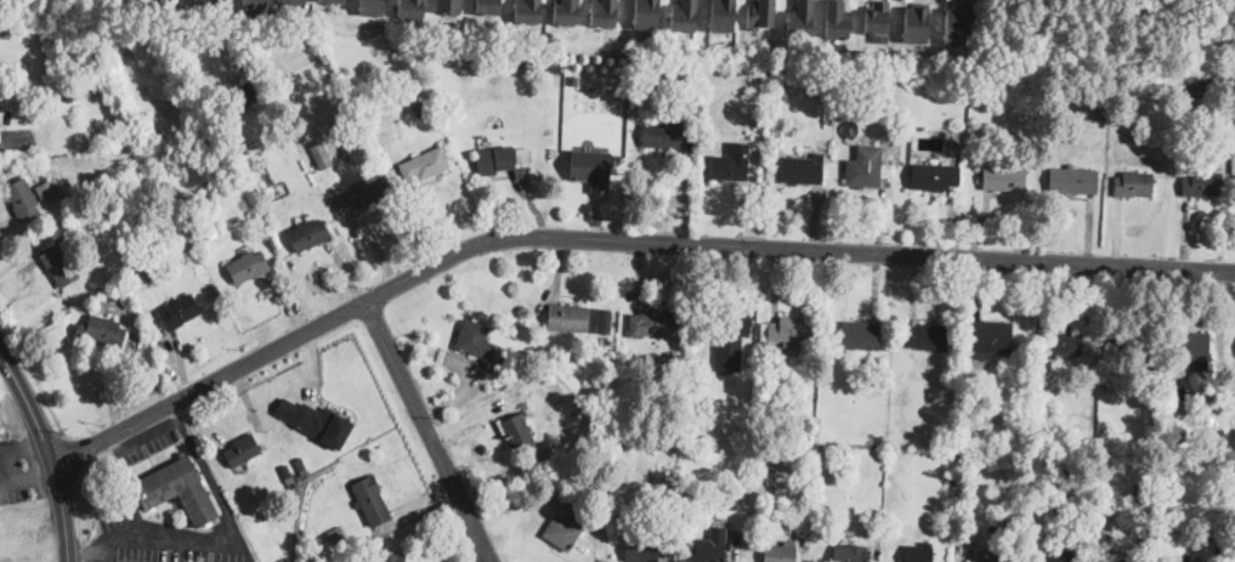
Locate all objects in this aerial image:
building: (176, 0)
building: (299, 1)
building: (338, 1)
building: (215, 2)
building: (259, 4)
building: (452, 6)
building: (491, 6)
building: (375, 7)
building: (414, 8)
building: (531, 11)
building: (568, 12)
building: (606, 12)
building: (765, 13)
building: (650, 15)
building: (689, 15)
building: (727, 16)
building: (883, 17)
building: (805, 18)
building: (842, 19)
building: (923, 24)
building: (963, 25)
building: (35, 30)
building: (555, 63)
building: (573, 78)
building: (1149, 86)
building: (961, 90)
building: (243, 92)
building: (1201, 92)
building: (70, 96)
building: (1101, 113)
building: (846, 115)
building: (758, 120)
building: (0, 135)
building: (663, 135)
building: (954, 142)
building: (322, 154)
building: (495, 159)
building: (1233, 163)
building: (426, 164)
building: (729, 168)
building: (867, 168)
building: (594, 169)
building: (803, 170)
building: (520, 176)
building: (934, 176)
building: (1004, 177)
building: (1073, 180)
building: (1202, 183)
building: (1133, 185)
building: (49, 188)
building: (367, 192)
building: (22, 198)
building: (84, 217)
building: (215, 226)
building: (158, 231)
building: (308, 234)
road: (618, 238)
building: (61, 265)
building: (248, 267)
building: (142, 279)
building: (114, 296)
building: (179, 312)
building: (874, 312)
building: (568, 317)
building: (653, 323)
building: (104, 330)
building: (788, 330)
building: (861, 335)
building: (726, 336)
building: (928, 336)
building: (475, 339)
building: (991, 339)
building: (1039, 339)
building: (1065, 344)
building: (761, 345)
building: (1133, 346)
building: (1194, 348)
building: (531, 353)
building: (605, 354)
road: (7, 358)
building: (765, 358)
building: (129, 362)
building: (1149, 371)
building: (315, 420)
road: (425, 424)
building: (517, 432)
building: (743, 432)
road: (22, 439)
building: (1212, 439)
parking lot: (146, 441)
building: (952, 443)
building: (973, 443)
building: (243, 450)
road: (12, 460)
road: (57, 461)
building: (301, 464)
building: (287, 471)
road: (27, 472)
building: (663, 477)
building: (544, 479)
building: (948, 481)
building: (179, 489)
building: (1141, 492)
building: (369, 493)
building: (693, 493)
building: (735, 503)
building: (769, 511)
building: (1103, 511)
building: (566, 529)
building: (878, 530)
building: (1012, 532)
building: (336, 533)
building: (1196, 533)
road: (223, 537)
parking lot: (163, 539)
building: (1105, 543)
building: (1233, 543)
building: (641, 547)
building: (709, 547)
building: (781, 552)
road: (491, 554)
building: (848, 554)
building: (919, 554)
road: (483, 555)
road: (104, 557)
building: (392, 557)
building: (978, 557)
building: (1058, 557)
building: (1132, 560)

